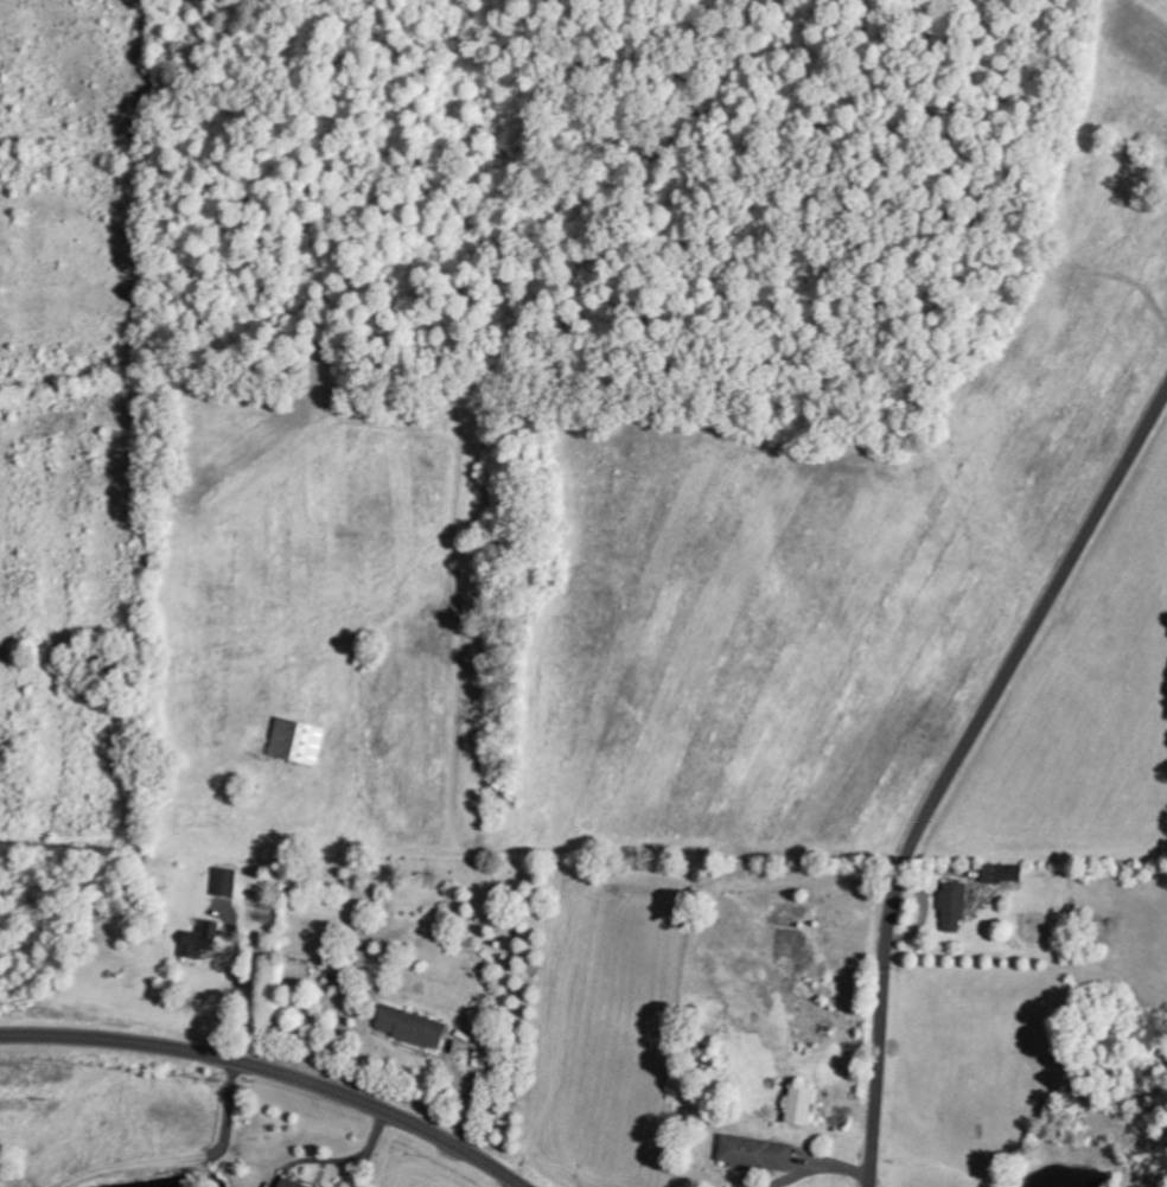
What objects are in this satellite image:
building: (296, 740)
road: (954, 770)
building: (1001, 872)
building: (224, 881)
building: (952, 905)
building: (200, 938)
building: (409, 1026)
road: (272, 1072)
building: (798, 1104)
building: (755, 1153)
building: (288, 1182)

